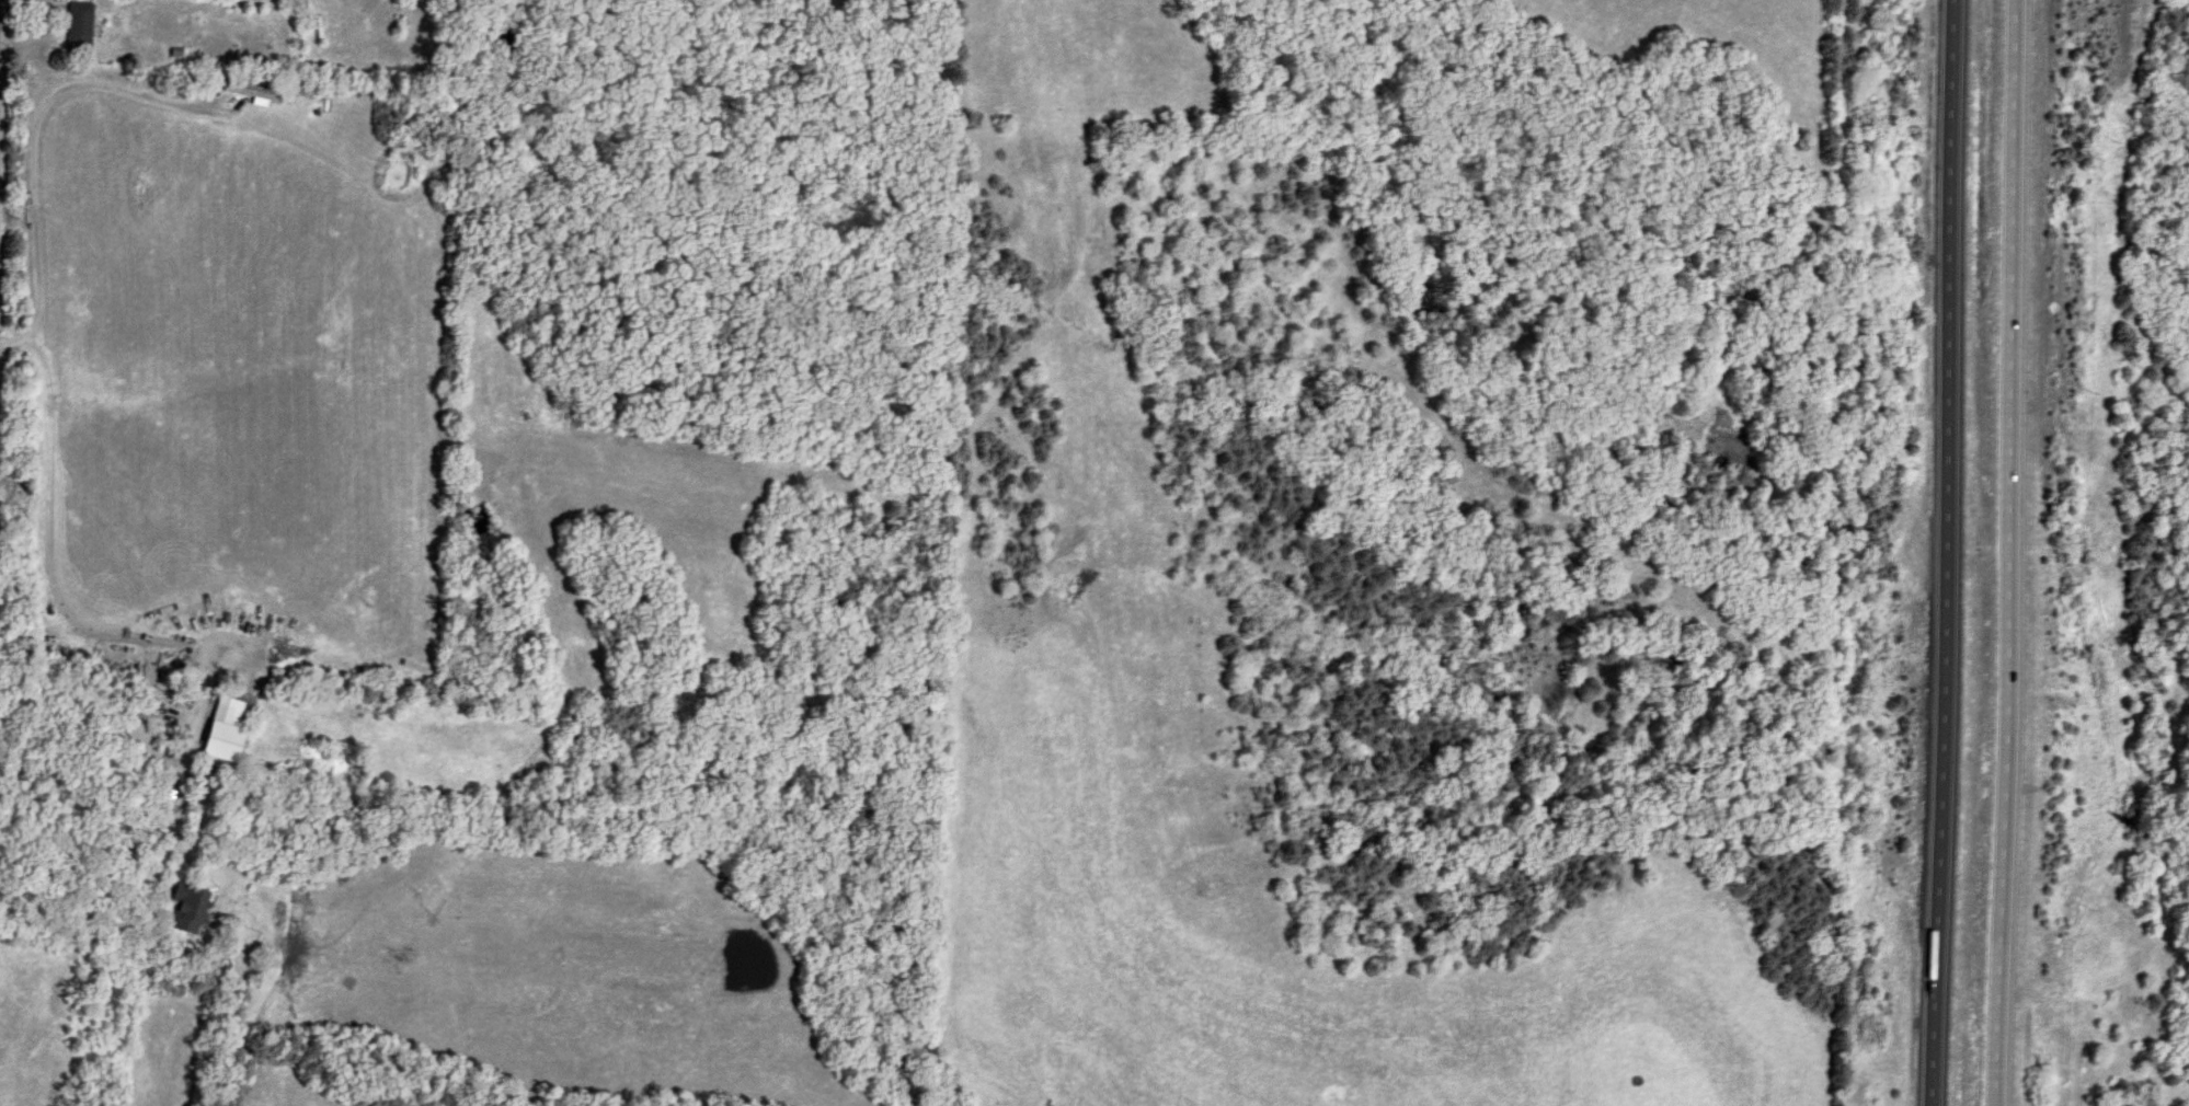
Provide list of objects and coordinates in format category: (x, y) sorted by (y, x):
building: (76, 26)
road: (31, 127)
road: (1957, 553)
road: (2022, 553)
road: (175, 640)
building: (228, 708)
building: (140, 739)
building: (183, 910)

